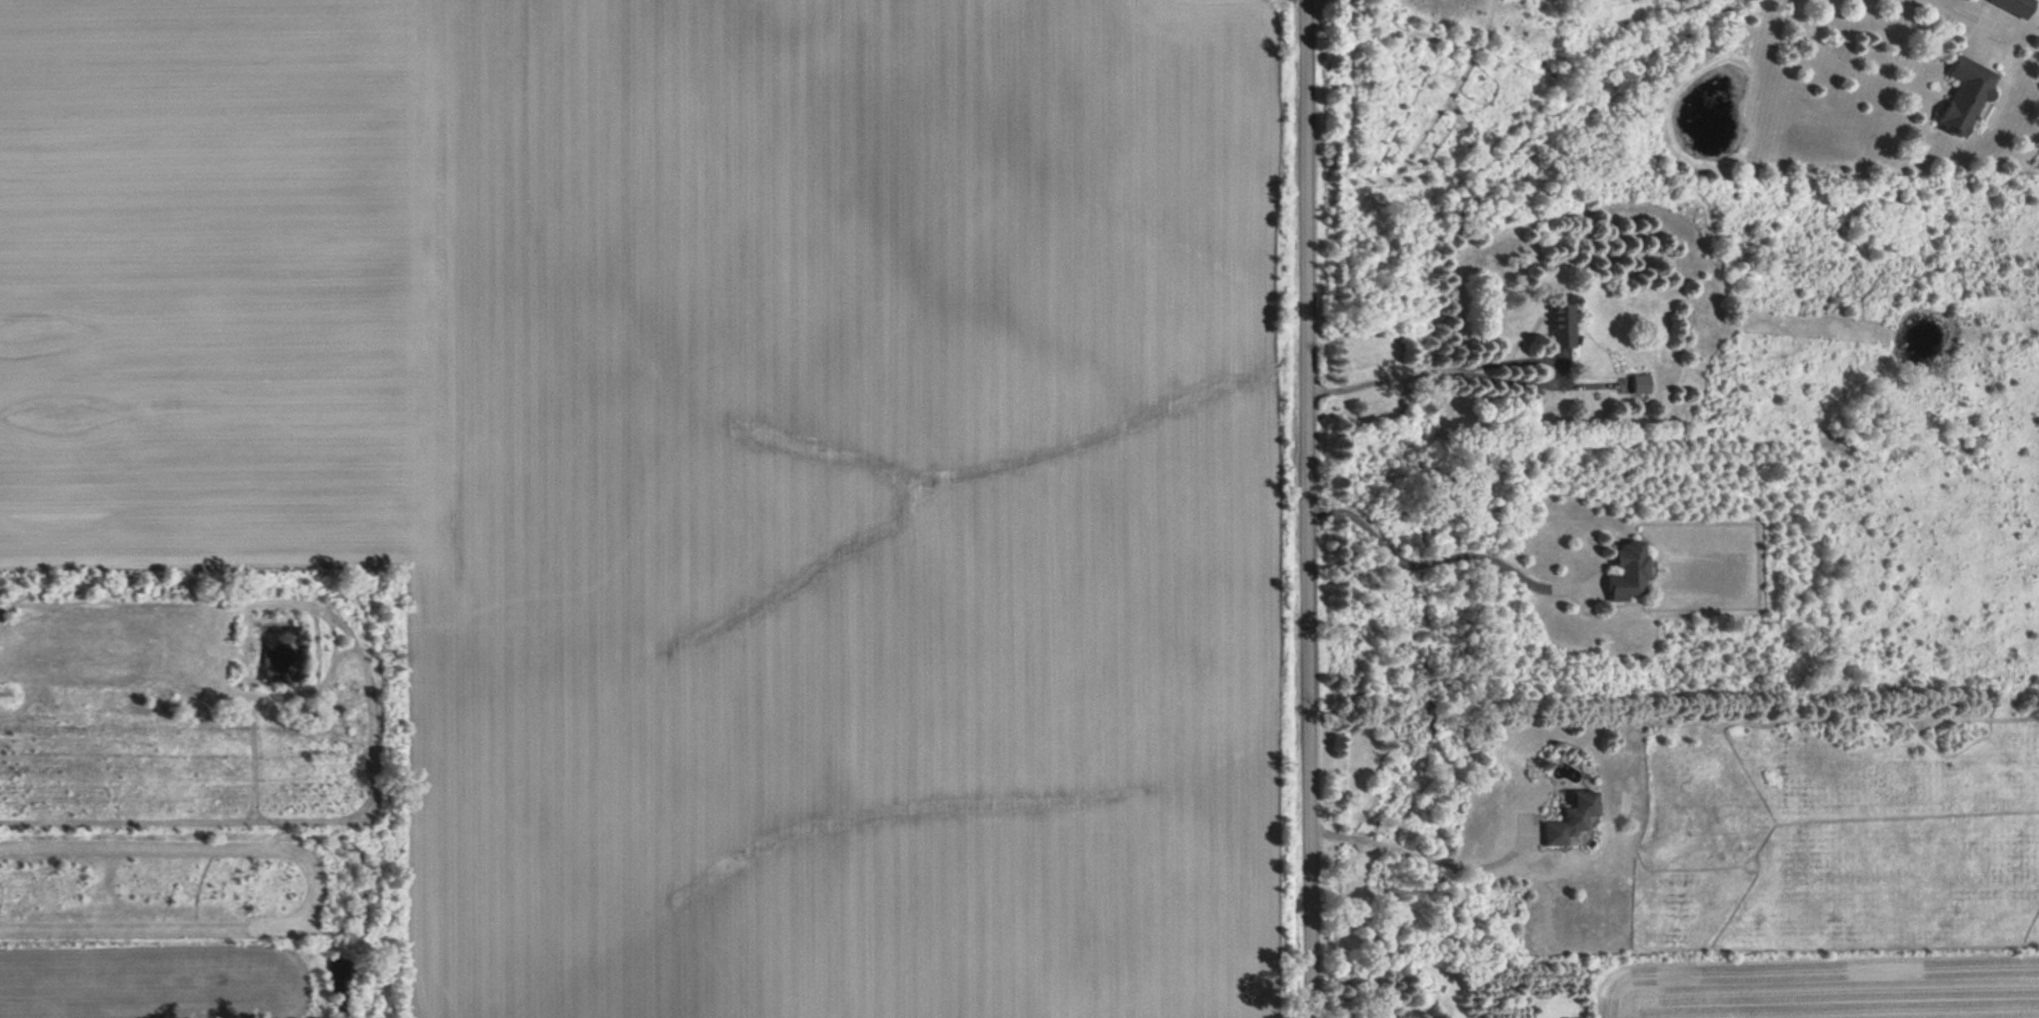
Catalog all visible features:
building: (2013, 6)
road: (1968, 16)
building: (1965, 94)
building: (1560, 326)
road: (1429, 370)
building: (1638, 383)
road: (1307, 508)
road: (1441, 558)
building: (1626, 571)
building: (1570, 819)
road: (1415, 855)

